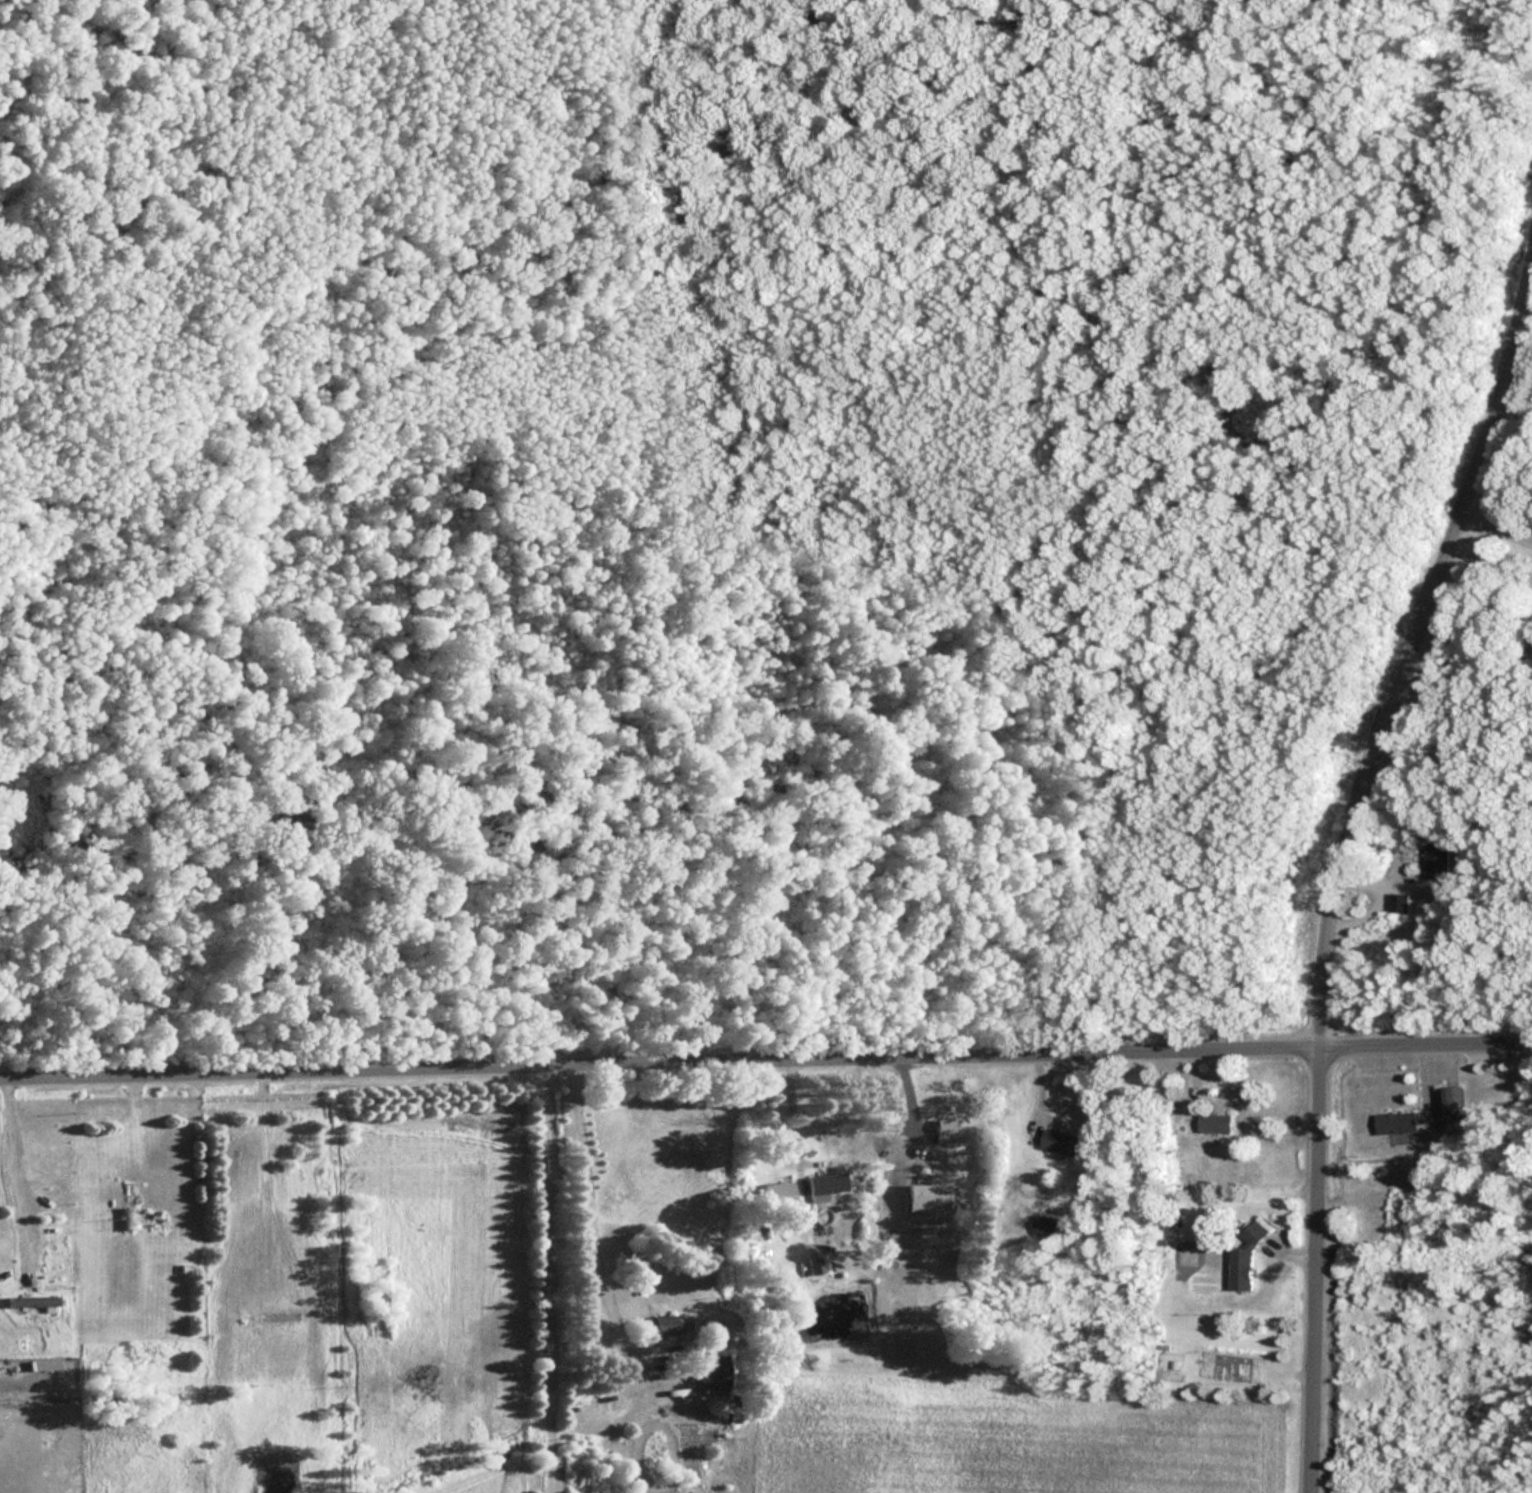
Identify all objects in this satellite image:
park: (719, 513)
road: (1496, 531)
building: (1437, 861)
road: (1339, 876)
building: (1399, 903)
road: (765, 1062)
building: (1451, 1101)
road: (788, 1117)
building: (1396, 1122)
building: (1214, 1123)
road: (139, 1129)
building: (940, 1133)
building: (1060, 1144)
road: (6, 1180)
building: (822, 1186)
building: (782, 1192)
building: (918, 1197)
building: (126, 1206)
road: (591, 1220)
building: (1044, 1226)
building: (1244, 1263)
building: (30, 1301)
building: (659, 1326)
building: (710, 1372)

